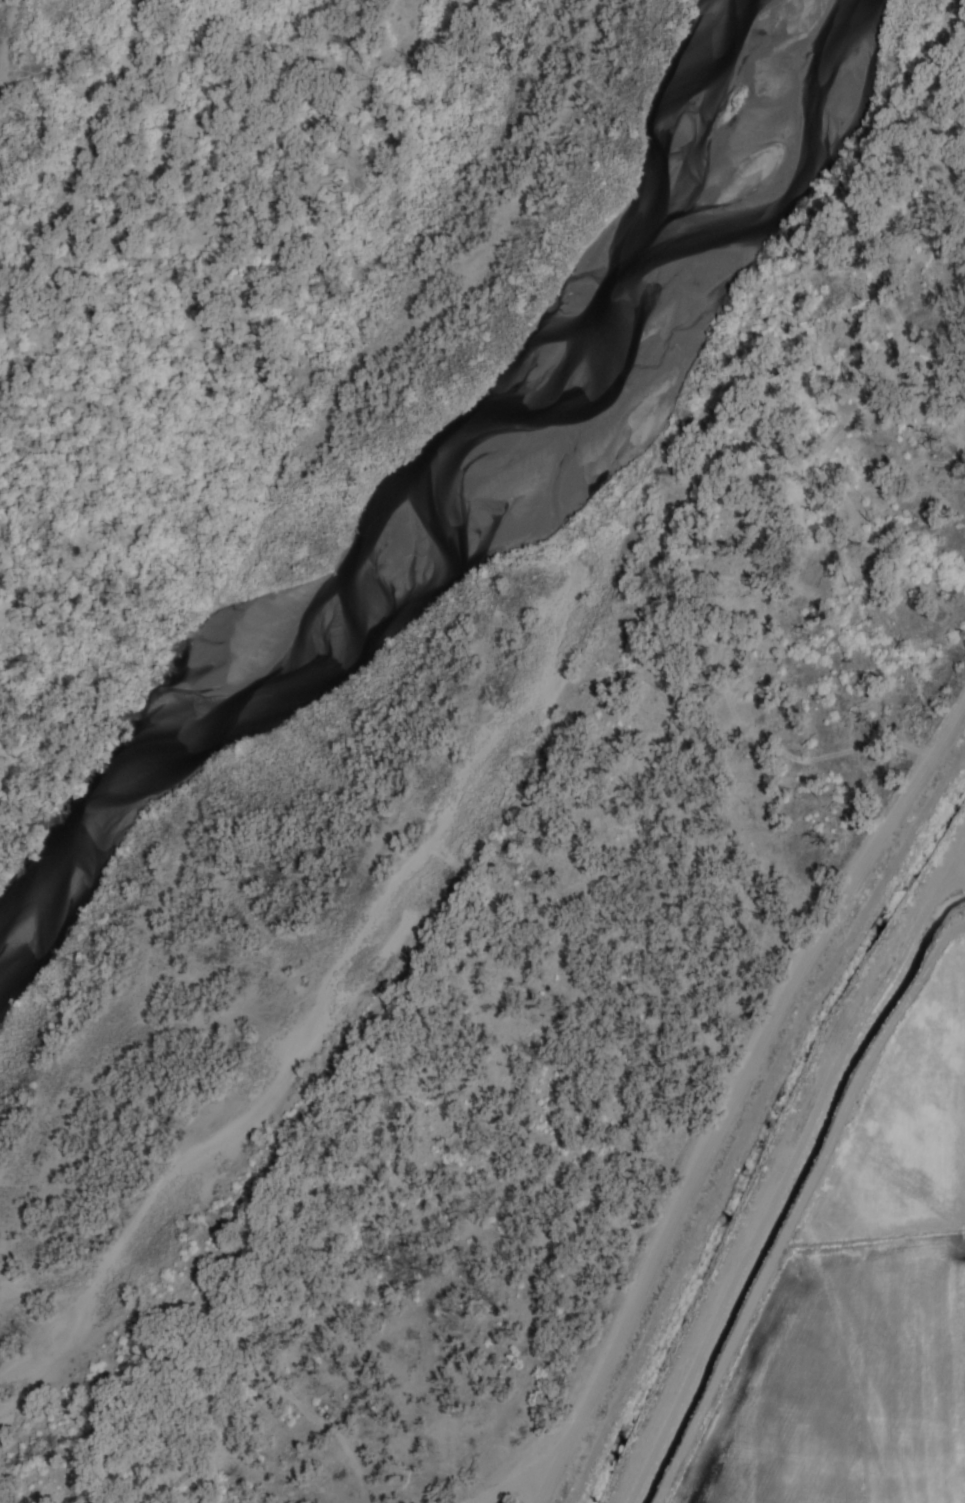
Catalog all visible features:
river: (441, 652)

